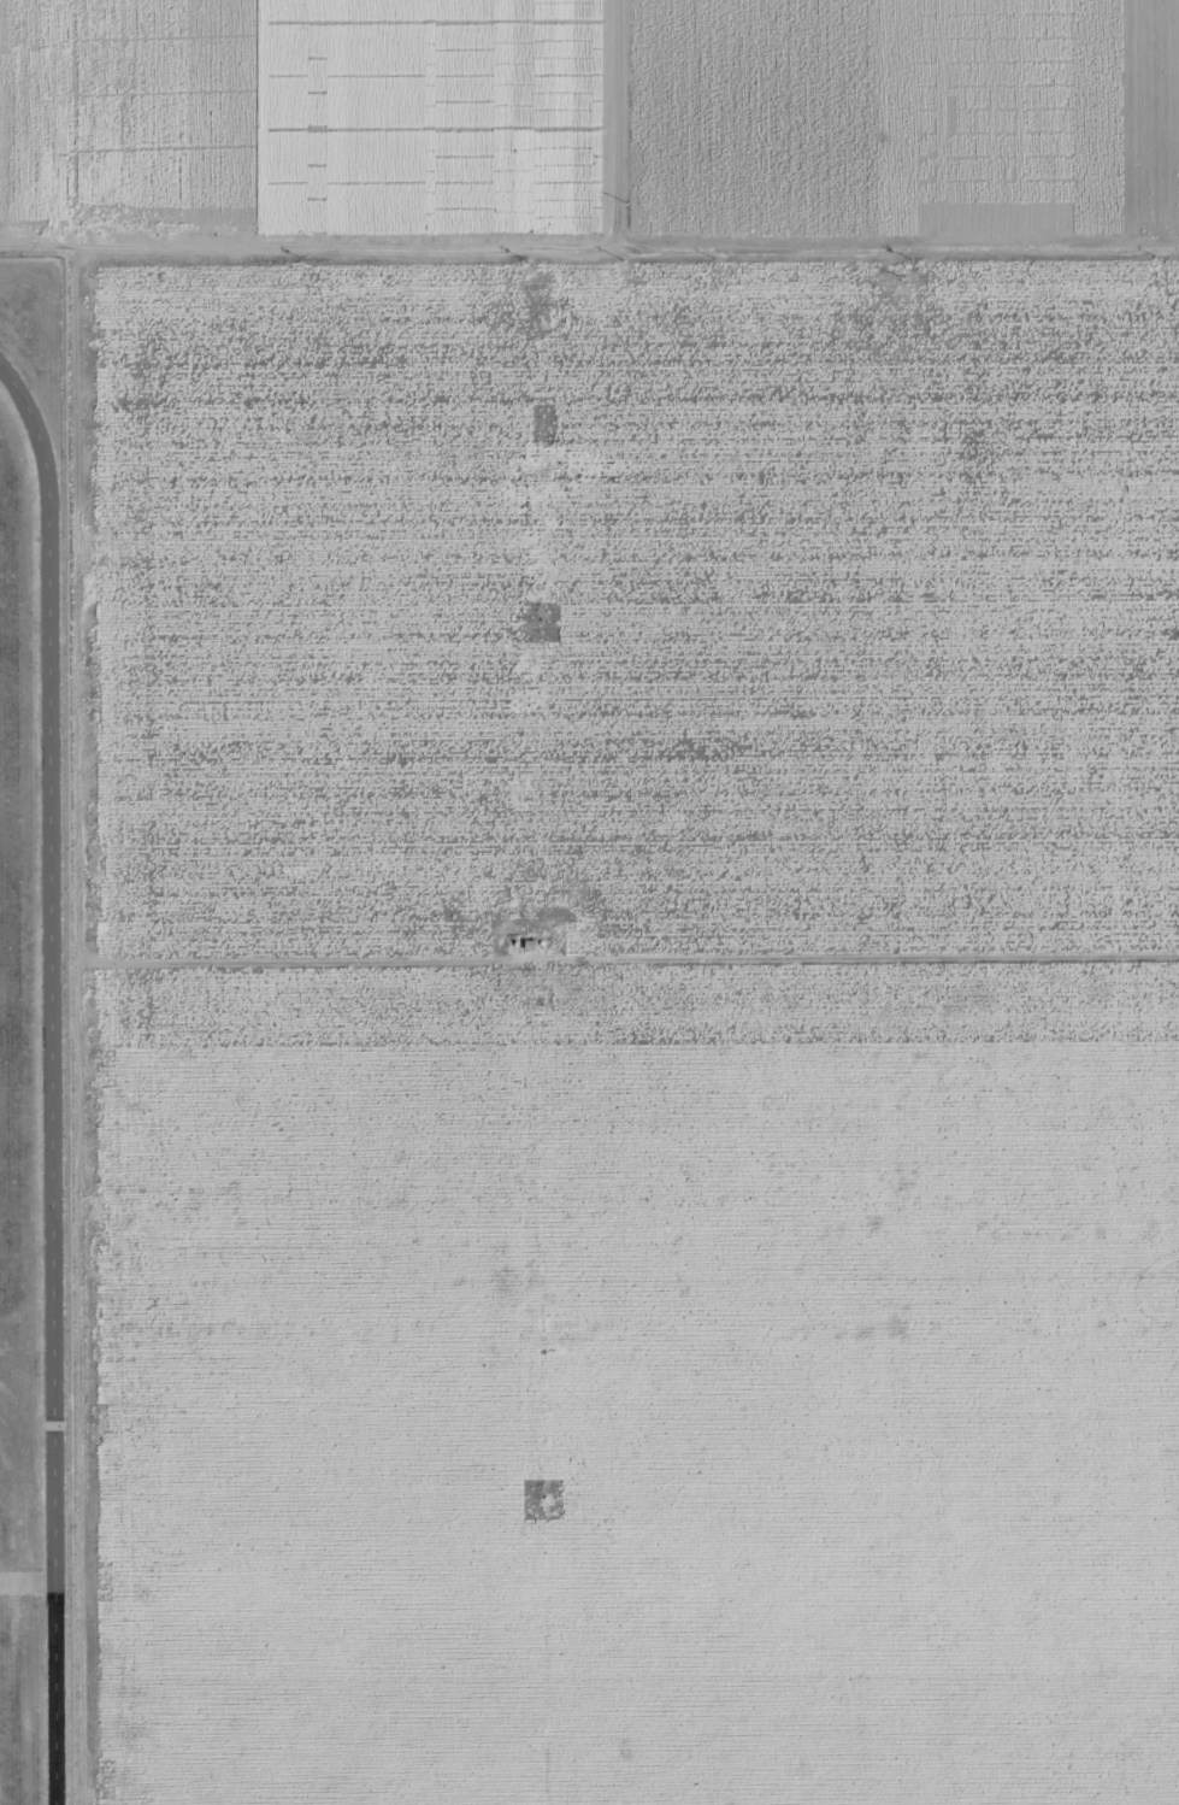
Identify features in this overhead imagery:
road: (611, 1)
building: (541, 942)
building: (529, 945)
road: (627, 958)
airport: (31, 1046)
road: (51, 1080)
road: (26, 1583)

